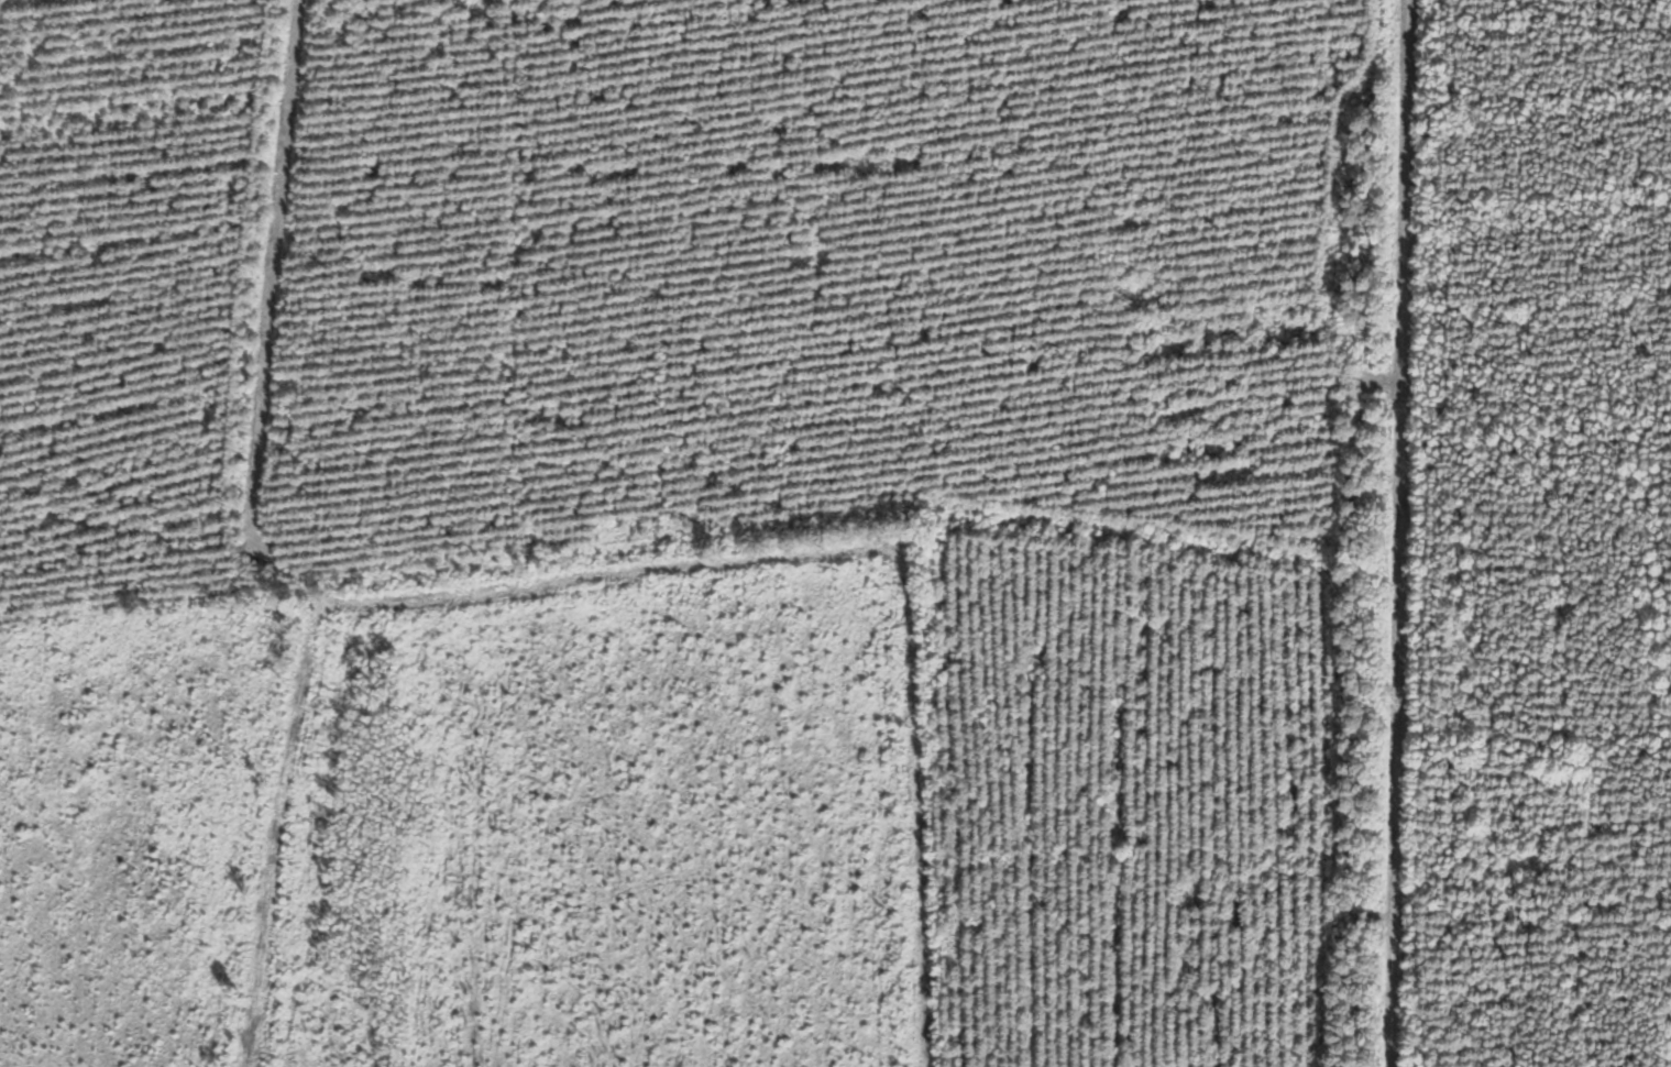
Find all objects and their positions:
road: (1370, 532)

